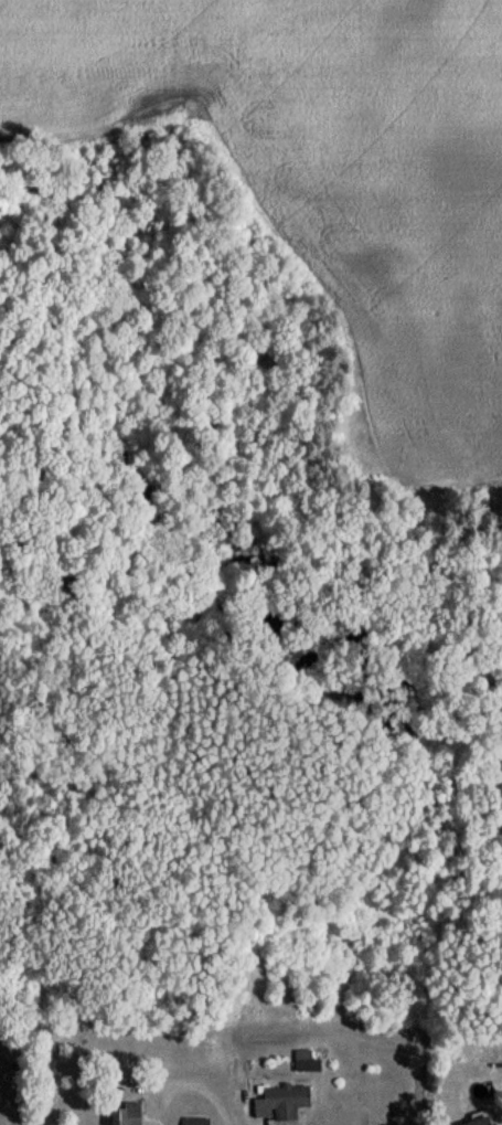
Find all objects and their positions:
building: (303, 1069)
road: (185, 1085)
building: (279, 1107)
building: (122, 1116)
building: (191, 1124)
building: (484, 1124)

